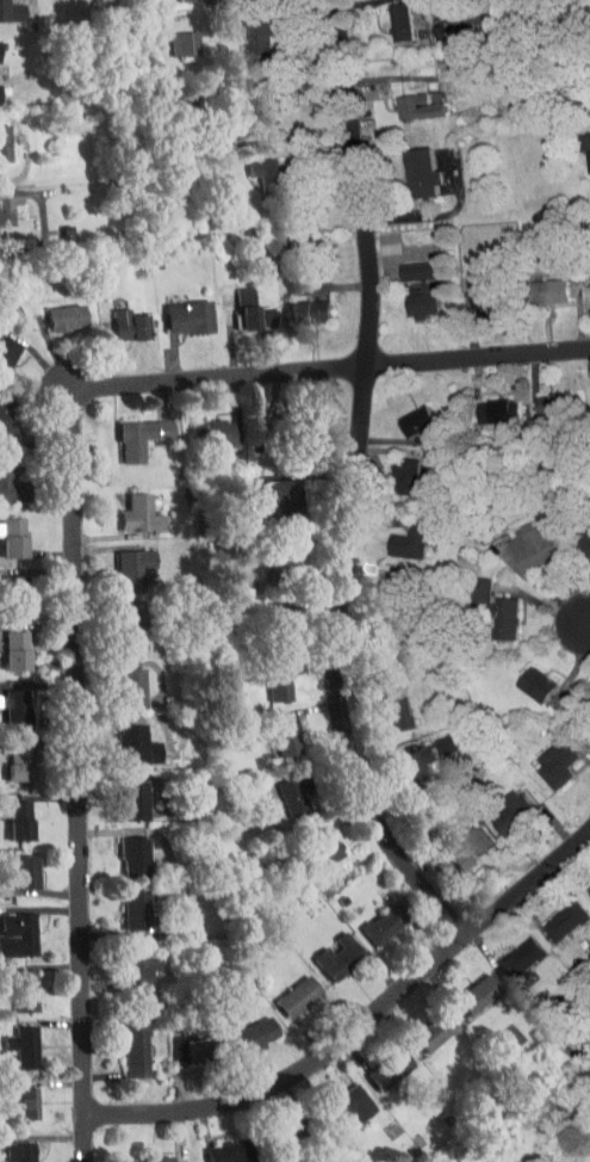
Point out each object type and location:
building: (5, 6)
building: (385, 17)
building: (243, 29)
building: (170, 36)
building: (238, 85)
building: (403, 100)
building: (580, 143)
building: (250, 166)
building: (405, 166)
building: (2, 199)
building: (583, 278)
building: (405, 282)
building: (535, 285)
building: (466, 290)
building: (293, 305)
building: (50, 310)
building: (174, 310)
building: (242, 310)
building: (114, 319)
building: (1, 341)
building: (586, 394)
building: (535, 397)
building: (483, 403)
building: (402, 414)
building: (198, 426)
building: (126, 431)
building: (284, 431)
building: (390, 469)
road: (354, 486)
building: (266, 492)
building: (124, 506)
road: (75, 514)
building: (6, 531)
building: (395, 534)
building: (517, 539)
building: (576, 540)
building: (269, 546)
building: (119, 560)
building: (5, 588)
building: (6, 643)
building: (263, 675)
building: (521, 678)
building: (116, 681)
building: (589, 681)
building: (5, 703)
building: (588, 704)
building: (383, 705)
building: (272, 730)
building: (430, 737)
building: (122, 738)
building: (400, 756)
building: (6, 758)
building: (540, 759)
building: (279, 790)
building: (118, 793)
building: (495, 806)
building: (7, 814)
building: (308, 841)
building: (454, 842)
building: (118, 849)
building: (11, 866)
building: (583, 883)
building: (120, 903)
building: (549, 914)
building: (368, 919)
building: (10, 927)
building: (324, 950)
building: (507, 951)
building: (124, 962)
building: (11, 983)
building: (462, 988)
building: (282, 990)
road: (367, 1025)
building: (421, 1025)
building: (241, 1028)
building: (11, 1040)
building: (166, 1043)
building: (122, 1044)
building: (374, 1063)
building: (13, 1096)
building: (335, 1098)
building: (10, 1149)
building: (211, 1149)
building: (137, 1156)

